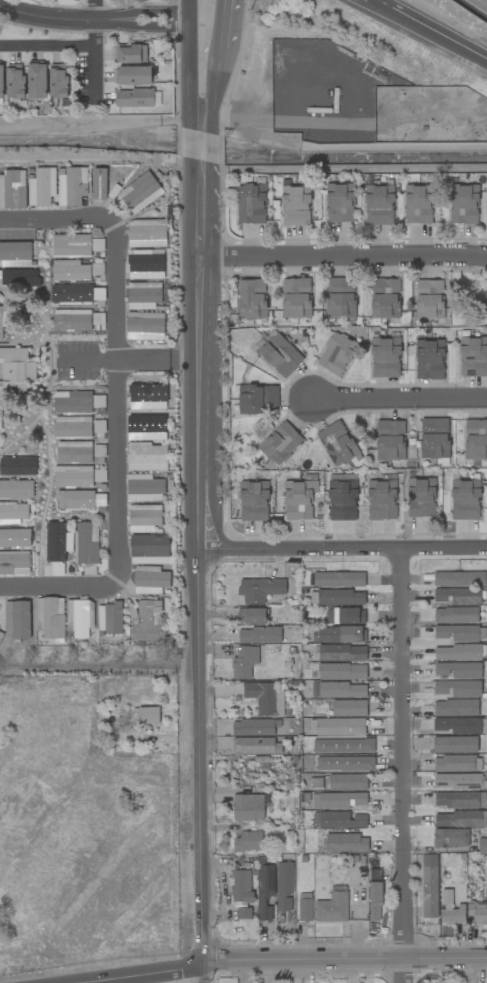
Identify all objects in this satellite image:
road: (93, 9)
road: (93, 18)
road: (427, 35)
road: (234, 44)
road: (48, 50)
building: (130, 54)
road: (96, 61)
road: (216, 67)
road: (189, 68)
building: (133, 75)
building: (14, 81)
building: (36, 81)
building: (57, 81)
building: (1, 82)
building: (134, 98)
building: (72, 186)
building: (41, 187)
building: (12, 189)
building: (140, 193)
building: (251, 203)
building: (340, 203)
building: (418, 204)
building: (464, 204)
building: (379, 205)
building: (296, 206)
road: (57, 217)
building: (146, 233)
building: (71, 246)
road: (346, 256)
building: (145, 264)
building: (70, 270)
building: (19, 277)
road: (117, 293)
building: (143, 295)
building: (340, 297)
building: (251, 298)
building: (296, 298)
building: (384, 298)
building: (429, 299)
park: (467, 300)
building: (1, 319)
building: (71, 320)
building: (144, 326)
building: (336, 353)
building: (280, 355)
building: (385, 357)
building: (473, 357)
building: (429, 359)
road: (162, 361)
road: (88, 362)
building: (16, 371)
building: (142, 395)
road: (399, 397)
building: (257, 400)
building: (72, 402)
building: (98, 426)
building: (142, 426)
building: (71, 427)
building: (434, 438)
building: (390, 440)
building: (475, 440)
building: (336, 443)
building: (280, 444)
building: (73, 451)
building: (147, 457)
building: (18, 466)
road: (119, 471)
building: (99, 475)
building: (72, 476)
building: (144, 488)
building: (16, 489)
building: (420, 498)
building: (298, 499)
building: (381, 500)
building: (465, 500)
building: (253, 501)
building: (342, 501)
building: (13, 513)
building: (144, 518)
building: (55, 542)
building: (86, 543)
road: (208, 549)
road: (348, 550)
building: (14, 563)
building: (338, 579)
building: (458, 579)
building: (150, 580)
road: (60, 587)
building: (259, 589)
building: (456, 596)
building: (339, 597)
building: (251, 616)
building: (344, 616)
building: (455, 616)
building: (79, 617)
building: (49, 618)
building: (109, 618)
building: (17, 619)
building: (145, 621)
building: (456, 633)
building: (338, 634)
building: (259, 635)
building: (341, 653)
building: (457, 653)
building: (244, 662)
building: (457, 670)
building: (341, 671)
building: (456, 688)
building: (342, 690)
building: (265, 698)
building: (349, 708)
building: (455, 708)
building: (148, 716)
building: (337, 726)
building: (461, 726)
building: (253, 728)
building: (454, 744)
building: (256, 746)
building: (343, 746)
building: (345, 763)
building: (454, 763)
road: (404, 766)
building: (457, 781)
building: (347, 782)
building: (337, 800)
building: (459, 800)
building: (249, 807)
building: (460, 819)
building: (338, 820)
building: (450, 838)
building: (248, 842)
building: (345, 843)
building: (482, 845)
building: (429, 886)
building: (284, 887)
building: (265, 893)
building: (241, 894)
building: (374, 901)
building: (332, 906)
building: (305, 907)
building: (450, 910)
building: (477, 912)
road: (342, 961)
road: (129, 973)
road: (197, 973)

